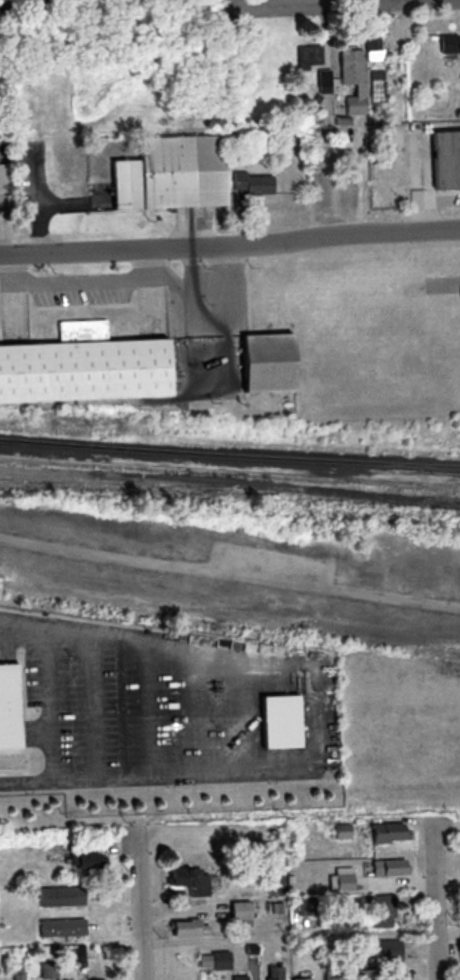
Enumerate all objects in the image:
road: (293, 1)
building: (437, 49)
building: (316, 64)
building: (354, 79)
building: (449, 167)
building: (4, 178)
building: (185, 181)
building: (252, 184)
road: (229, 239)
building: (79, 330)
building: (274, 372)
building: (88, 381)
railway: (229, 454)
road: (50, 705)
building: (6, 707)
road: (96, 707)
road: (149, 710)
road: (201, 713)
building: (87, 863)
building: (189, 881)
building: (61, 897)
road: (427, 899)
road: (138, 906)
building: (63, 928)
building: (187, 928)

